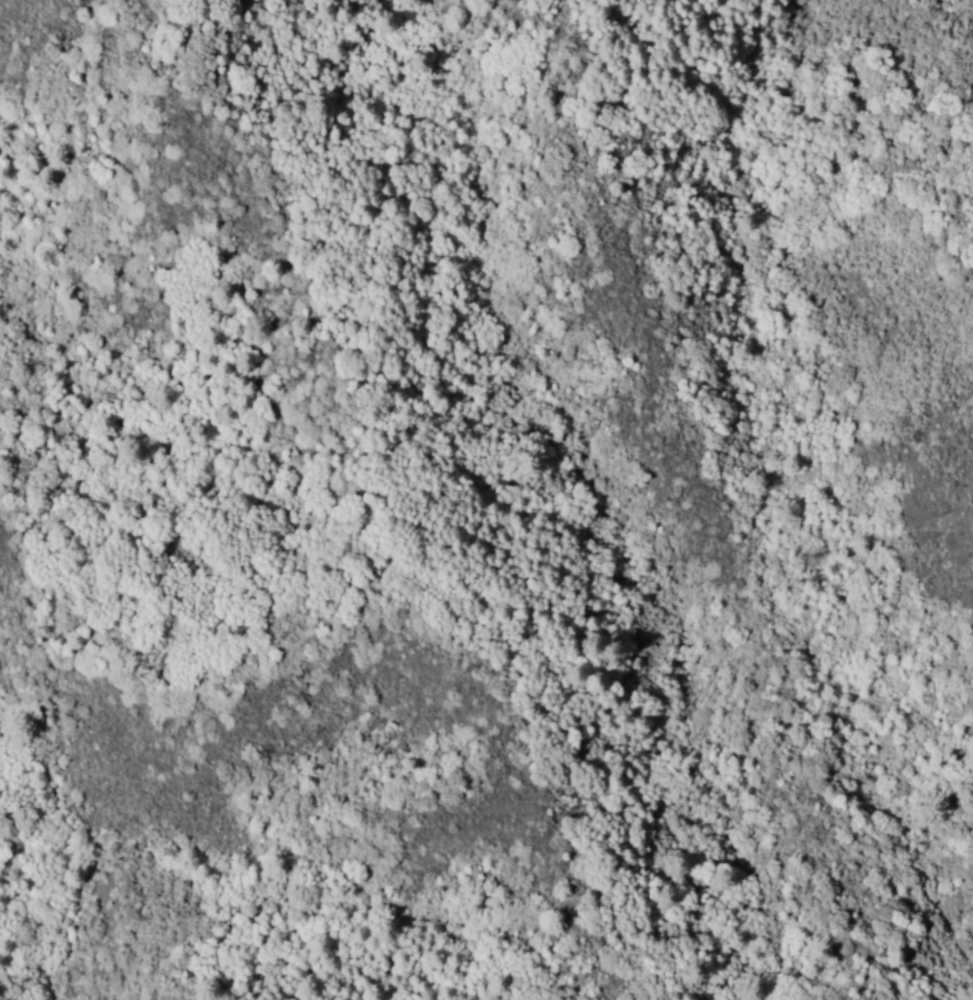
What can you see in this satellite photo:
road: (745, 224)

